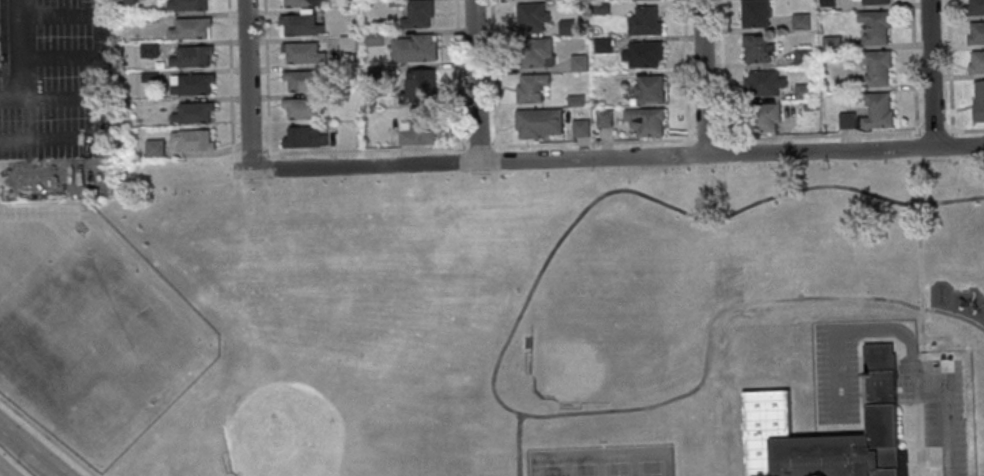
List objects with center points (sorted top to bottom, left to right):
building: (876, 2)
building: (302, 3)
building: (190, 5)
building: (977, 7)
road: (18, 9)
building: (757, 13)
building: (419, 15)
building: (532, 16)
building: (647, 20)
building: (802, 22)
building: (301, 25)
building: (877, 27)
building: (192, 28)
building: (567, 28)
building: (976, 33)
road: (97, 38)
building: (349, 44)
building: (758, 48)
building: (150, 49)
building: (415, 49)
building: (537, 52)
building: (304, 53)
building: (644, 53)
building: (193, 56)
building: (802, 57)
road: (59, 58)
building: (581, 62)
building: (977, 62)
building: (878, 69)
road: (931, 73)
road: (703, 77)
building: (304, 80)
road: (475, 81)
building: (765, 83)
building: (193, 84)
road: (247, 85)
building: (423, 85)
parking lot: (57, 87)
building: (532, 88)
building: (651, 88)
building: (805, 92)
road: (60, 98)
building: (979, 100)
building: (304, 108)
building: (879, 111)
building: (195, 113)
building: (769, 117)
building: (605, 118)
road: (21, 120)
building: (848, 120)
building: (647, 121)
building: (540, 123)
building: (421, 128)
building: (582, 128)
building: (306, 136)
building: (195, 140)
building: (156, 148)
road: (617, 158)
road: (35, 212)
road: (920, 264)
park: (462, 317)
road: (523, 337)
park: (598, 337)
road: (935, 337)
road: (496, 364)
parking lot: (835, 373)
road: (836, 376)
road: (859, 377)
road: (919, 379)
parking lot: (937, 405)
park: (297, 414)
building: (766, 418)
road: (48, 436)
road: (921, 440)
road: (518, 444)
road: (24, 445)
road: (927, 458)
park: (650, 468)
park: (584, 469)
park: (617, 469)
park: (550, 470)
road: (53, 471)
road: (54, 471)
road: (0, 475)

